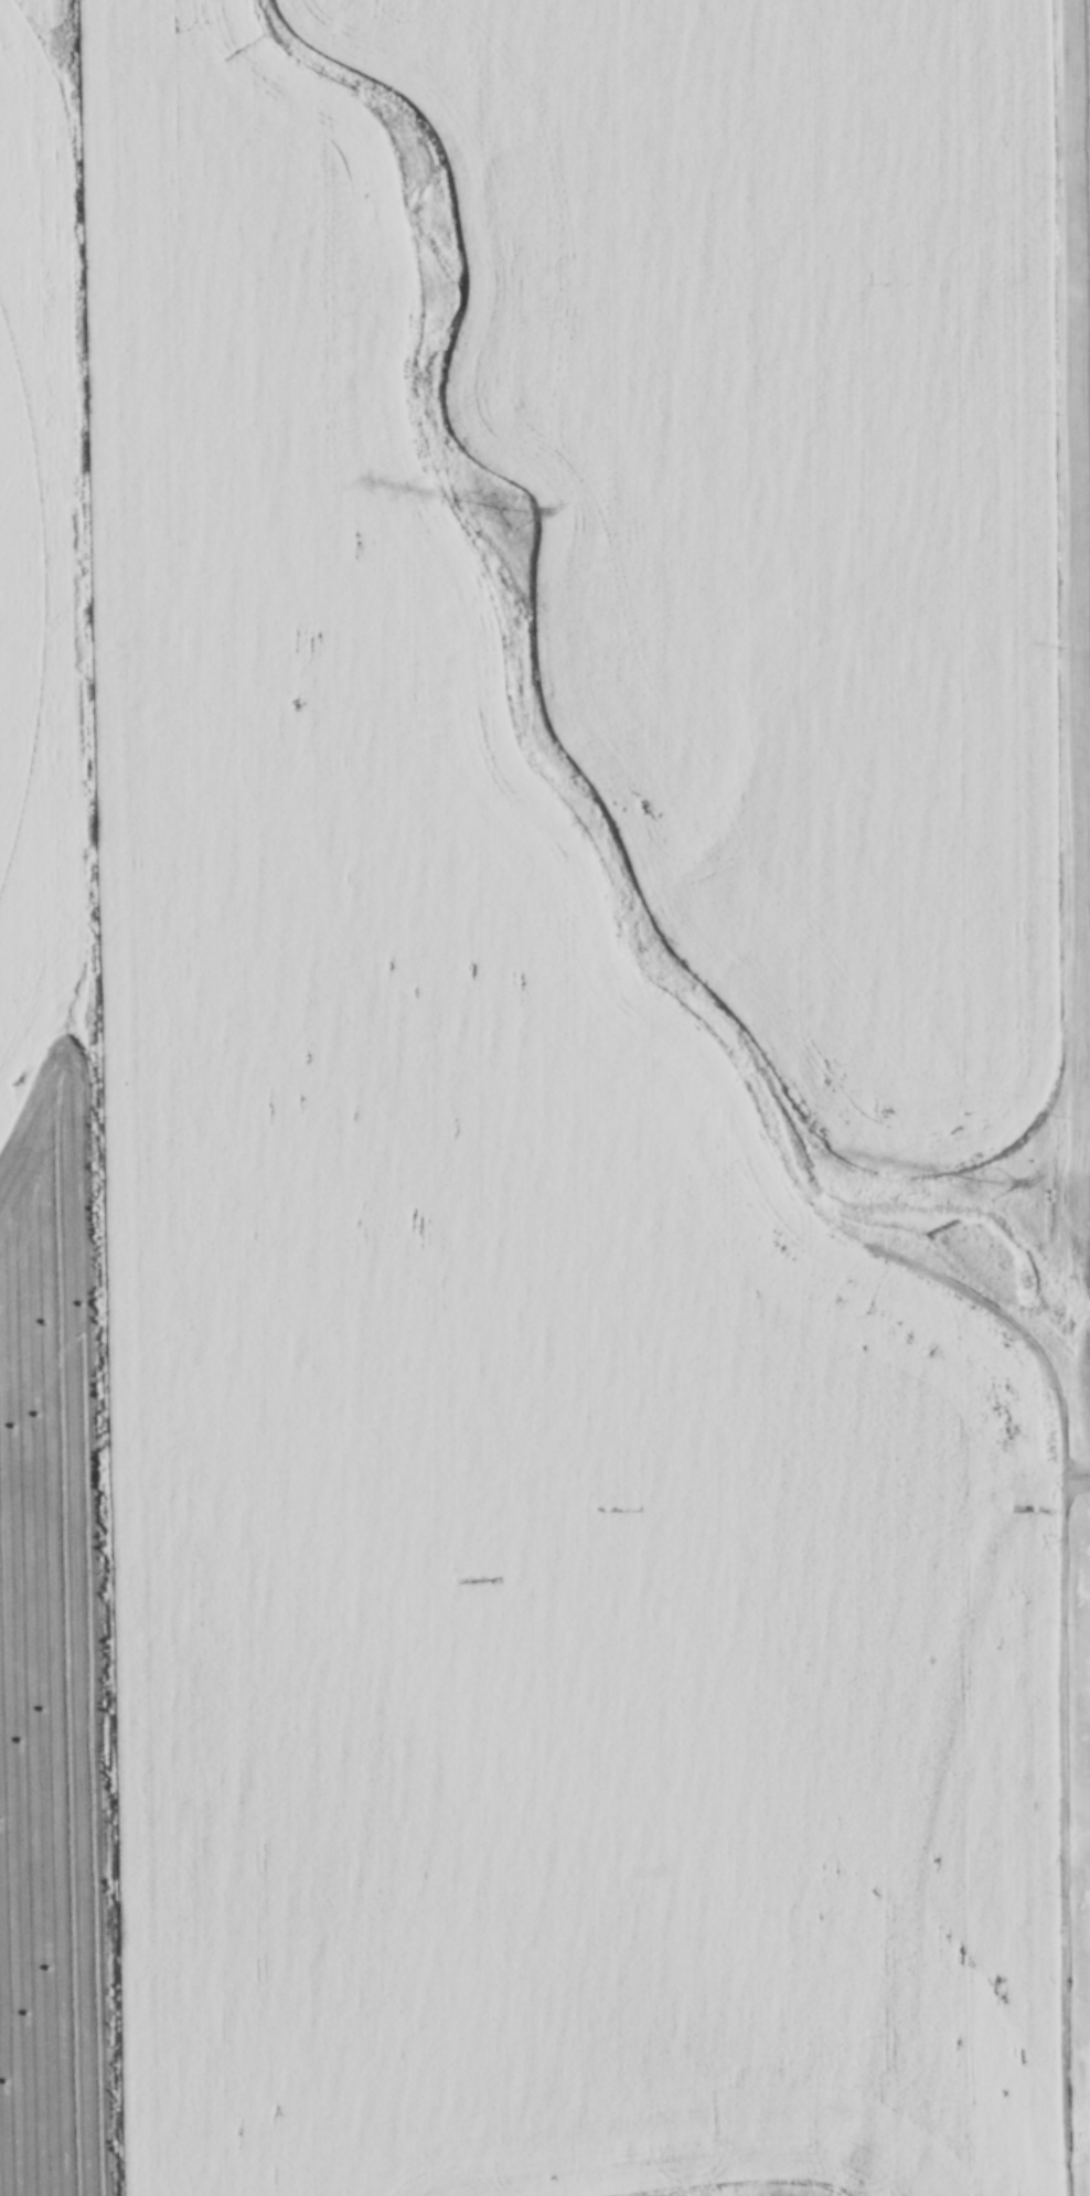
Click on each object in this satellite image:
power tower: (515, 513)
power tower: (991, 1185)

